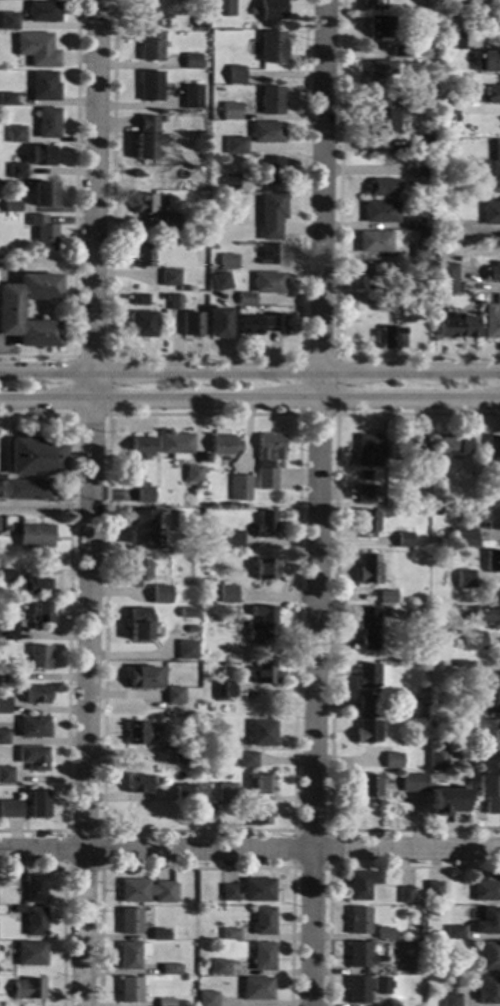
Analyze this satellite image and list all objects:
building: (221, 4)
building: (371, 5)
building: (271, 10)
building: (42, 11)
building: (141, 11)
building: (216, 15)
building: (8, 21)
building: (379, 28)
building: (453, 41)
building: (150, 46)
building: (273, 47)
building: (37, 50)
building: (400, 52)
building: (193, 62)
building: (485, 62)
building: (380, 73)
building: (236, 75)
building: (150, 86)
building: (44, 87)
building: (492, 95)
building: (192, 97)
building: (408, 98)
building: (7, 99)
building: (271, 101)
building: (448, 110)
building: (231, 111)
building: (381, 122)
building: (48, 124)
building: (266, 133)
building: (16, 135)
building: (147, 138)
building: (235, 145)
building: (422, 145)
building: (441, 150)
building: (43, 156)
building: (482, 164)
building: (495, 168)
building: (422, 169)
building: (17, 171)
building: (270, 171)
building: (229, 182)
building: (382, 188)
building: (43, 195)
building: (144, 204)
building: (11, 206)
building: (380, 213)
building: (490, 213)
road: (74, 214)
building: (271, 215)
building: (170, 220)
building: (412, 223)
building: (43, 232)
building: (450, 233)
building: (374, 242)
building: (421, 250)
building: (271, 255)
building: (142, 256)
road: (338, 259)
building: (228, 262)
building: (367, 273)
building: (493, 273)
building: (170, 278)
building: (445, 278)
building: (221, 281)
building: (262, 286)
building: (475, 298)
building: (140, 300)
building: (397, 300)
building: (174, 303)
road: (47, 310)
building: (10, 315)
building: (492, 319)
building: (217, 323)
building: (259, 324)
building: (191, 325)
building: (455, 328)
building: (143, 330)
building: (388, 337)
road: (204, 357)
road: (250, 371)
road: (250, 399)
road: (299, 414)
road: (71, 415)
road: (108, 415)
building: (176, 446)
building: (223, 446)
building: (452, 446)
building: (494, 447)
building: (270, 448)
building: (140, 449)
building: (369, 452)
building: (404, 452)
building: (37, 458)
building: (193, 475)
building: (266, 480)
building: (2, 487)
building: (240, 488)
building: (28, 491)
building: (144, 495)
building: (367, 495)
building: (191, 496)
road: (89, 502)
road: (317, 502)
building: (435, 504)
road: (44, 507)
building: (436, 512)
building: (141, 519)
building: (490, 520)
building: (366, 522)
building: (265, 523)
building: (35, 537)
building: (233, 540)
building: (468, 540)
building: (403, 541)
building: (493, 562)
building: (265, 570)
building: (368, 570)
building: (138, 571)
building: (6, 577)
building: (465, 580)
building: (37, 586)
building: (160, 591)
building: (228, 597)
building: (386, 597)
building: (231, 610)
building: (187, 613)
building: (387, 613)
building: (40, 614)
building: (138, 615)
building: (213, 617)
building: (487, 617)
road: (68, 620)
building: (261, 623)
road: (332, 625)
building: (367, 628)
building: (191, 630)
building: (8, 632)
building: (472, 641)
building: (187, 651)
building: (39, 658)
building: (463, 669)
building: (263, 675)
building: (366, 676)
building: (12, 678)
building: (143, 678)
building: (224, 691)
building: (36, 695)
building: (174, 696)
building: (491, 696)
building: (367, 705)
building: (4, 706)
building: (211, 708)
building: (33, 727)
building: (366, 732)
building: (138, 733)
building: (262, 734)
building: (486, 734)
building: (4, 737)
building: (183, 757)
building: (34, 758)
building: (248, 760)
building: (437, 760)
building: (392, 761)
building: (9, 780)
building: (138, 784)
building: (413, 784)
building: (264, 785)
building: (366, 786)
building: (182, 790)
building: (488, 792)
building: (226, 793)
building: (175, 794)
building: (444, 802)
building: (10, 808)
building: (31, 808)
building: (207, 812)
building: (257, 816)
road: (102, 831)
road: (250, 850)
road: (196, 867)
road: (329, 867)
road: (344, 867)
building: (361, 885)
building: (35, 890)
building: (250, 891)
building: (434, 891)
building: (147, 892)
building: (487, 892)
building: (405, 896)
road: (64, 904)
building: (358, 921)
building: (35, 922)
building: (130, 922)
building: (263, 922)
building: (489, 922)
building: (455, 933)
building: (382, 934)
building: (437, 934)
building: (159, 935)
building: (230, 935)
building: (418, 946)
building: (31, 955)
building: (131, 955)
building: (359, 955)
building: (489, 956)
building: (263, 957)
building: (219, 967)
building: (419, 969)
building: (455, 969)
building: (168, 970)
building: (380, 970)
building: (380, 986)
building: (256, 989)
building: (29, 990)
building: (129, 991)
building: (357, 991)
building: (490, 991)
building: (207, 999)
building: (451, 1001)
building: (165, 1003)

